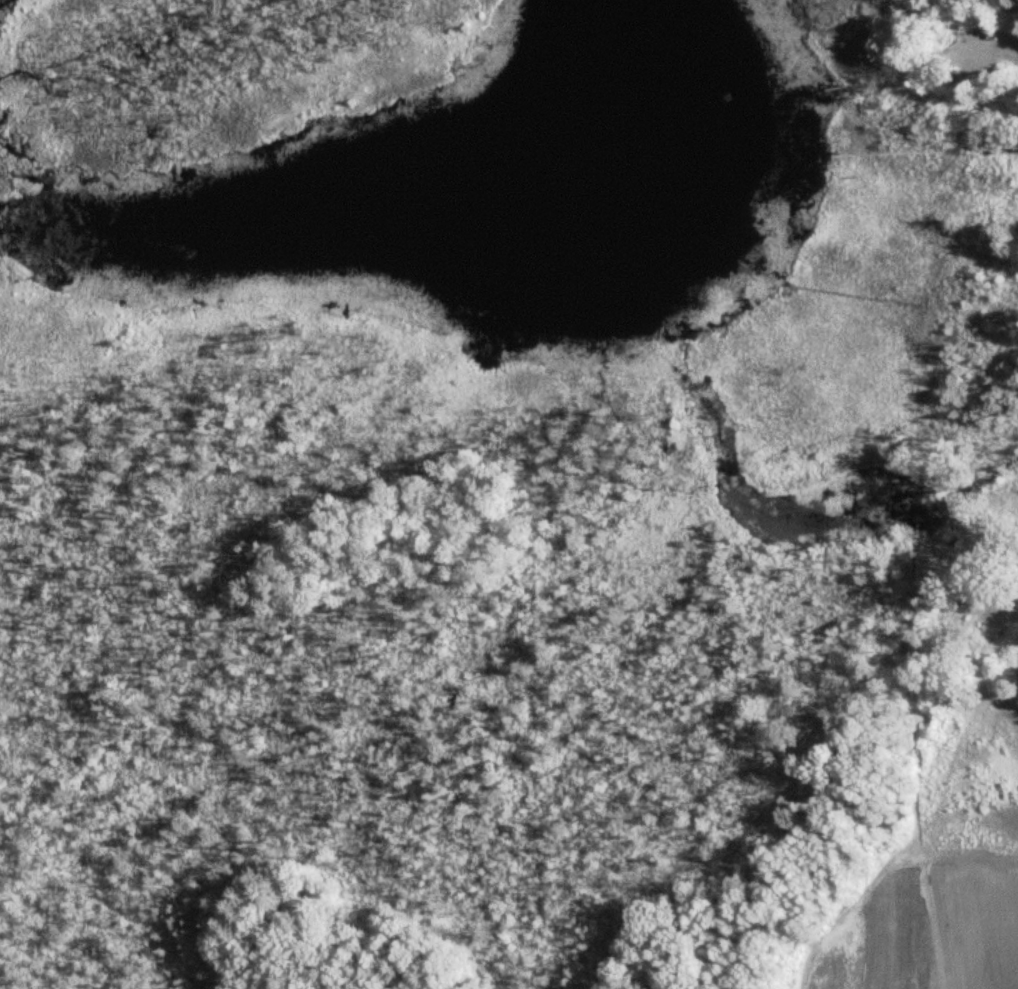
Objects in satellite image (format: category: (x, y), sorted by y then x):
pier: (944, 513)

